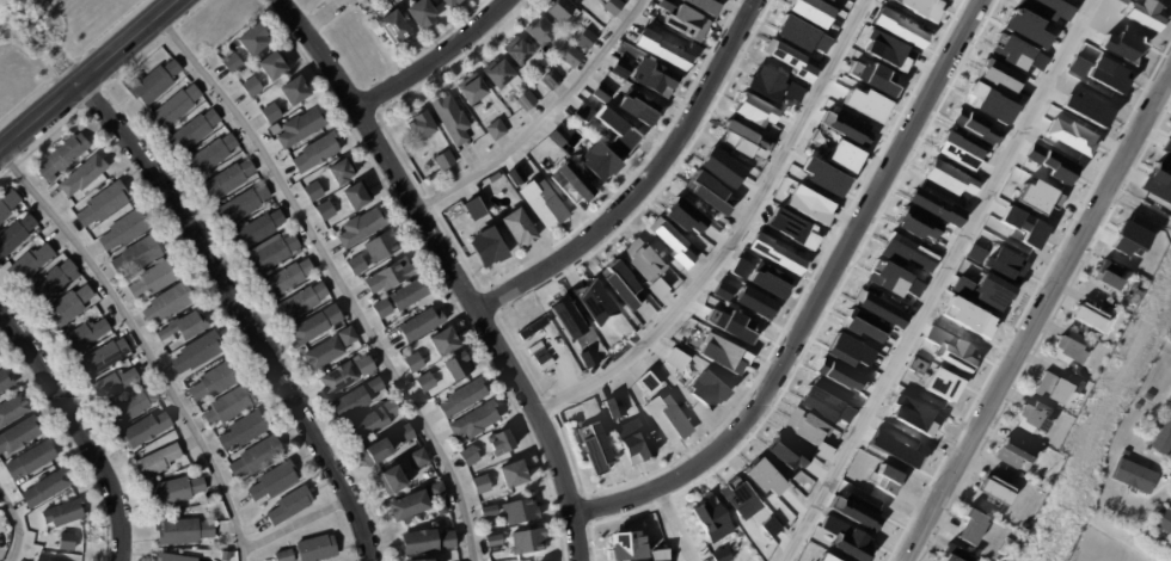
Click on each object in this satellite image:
building: (454, 0)
building: (832, 0)
building: (446, 1)
building: (666, 5)
building: (701, 5)
building: (612, 7)
building: (1047, 8)
building: (560, 10)
building: (810, 11)
building: (419, 12)
road: (321, 14)
building: (685, 21)
building: (393, 26)
building: (540, 30)
building: (799, 35)
building: (253, 39)
building: (585, 39)
building: (519, 50)
building: (887, 50)
building: (572, 57)
road: (435, 58)
building: (789, 60)
building: (232, 63)
building: (272, 64)
building: (620, 67)
building: (496, 70)
road: (90, 76)
building: (652, 76)
building: (552, 80)
building: (154, 82)
building: (765, 82)
building: (251, 86)
building: (470, 88)
building: (295, 91)
building: (792, 91)
building: (599, 94)
building: (525, 99)
building: (987, 104)
building: (174, 106)
building: (637, 106)
building: (752, 110)
building: (582, 112)
building: (271, 113)
road: (541, 117)
building: (452, 119)
building: (421, 125)
building: (301, 128)
building: (496, 129)
building: (975, 129)
building: (194, 130)
building: (617, 131)
building: (557, 135)
building: (743, 140)
building: (1167, 143)
building: (956, 149)
building: (315, 153)
building: (63, 155)
building: (211, 155)
building: (841, 156)
building: (445, 160)
building: (597, 161)
building: (719, 167)
building: (342, 171)
building: (515, 174)
building: (82, 175)
building: (495, 178)
building: (948, 178)
building: (228, 179)
building: (570, 179)
road: (644, 179)
building: (1158, 181)
building: (313, 191)
building: (707, 192)
building: (358, 195)
building: (541, 202)
building: (7, 204)
building: (103, 204)
building: (243, 204)
building: (472, 206)
building: (934, 206)
building: (325, 210)
building: (682, 215)
building: (918, 224)
building: (516, 227)
building: (791, 227)
building: (361, 228)
building: (125, 229)
building: (258, 229)
building: (16, 235)
road: (735, 235)
building: (670, 241)
building: (381, 246)
building: (484, 247)
building: (906, 252)
building: (773, 253)
building: (139, 254)
building: (271, 254)
building: (639, 259)
building: (29, 263)
building: (357, 265)
building: (741, 265)
road: (454, 269)
building: (390, 276)
building: (1108, 276)
building: (154, 278)
building: (287, 278)
road: (336, 278)
building: (768, 279)
road: (940, 280)
building: (51, 282)
building: (618, 282)
building: (656, 288)
building: (723, 290)
building: (989, 291)
building: (409, 295)
road: (815, 298)
building: (593, 301)
building: (301, 302)
building: (754, 302)
building: (168, 303)
building: (68, 307)
building: (382, 308)
building: (879, 309)
road: (243, 313)
road: (1038, 316)
building: (1091, 316)
building: (565, 318)
building: (726, 322)
building: (317, 325)
building: (421, 325)
building: (184, 327)
building: (531, 327)
building: (86, 334)
building: (1169, 338)
road: (143, 343)
building: (445, 343)
building: (330, 349)
building: (1068, 350)
building: (197, 352)
building: (587, 355)
building: (722, 355)
building: (103, 357)
building: (675, 359)
building: (415, 362)
building: (459, 366)
building: (347, 375)
building: (646, 381)
building: (5, 382)
building: (214, 382)
building: (427, 382)
building: (115, 383)
building: (374, 386)
building: (1148, 387)
building: (1054, 388)
building: (705, 389)
building: (464, 399)
building: (1170, 400)
building: (350, 403)
building: (822, 405)
building: (133, 406)
building: (228, 406)
building: (12, 409)
building: (392, 409)
building: (1031, 417)
building: (666, 418)
building: (476, 421)
road: (79, 426)
building: (367, 426)
building: (803, 426)
building: (146, 430)
building: (245, 430)
building: (405, 433)
building: (18, 436)
building: (1163, 437)
building: (632, 440)
building: (503, 443)
building: (1040, 446)
building: (594, 449)
building: (1011, 451)
building: (786, 452)
building: (376, 454)
building: (470, 456)
building: (257, 457)
building: (1132, 457)
building: (418, 458)
building: (30, 461)
building: (158, 461)
building: (515, 475)
building: (1001, 475)
building: (761, 476)
building: (888, 477)
building: (394, 480)
building: (274, 481)
building: (482, 485)
building: (1141, 486)
building: (48, 487)
building: (995, 491)
building: (174, 492)
building: (436, 492)
building: (737, 498)
building: (290, 506)
building: (409, 506)
building: (489, 512)
building: (521, 512)
building: (63, 513)
building: (710, 518)
building: (1163, 520)
road: (296, 522)
road: (16, 523)
road: (676, 524)
building: (971, 528)
building: (185, 532)
building: (447, 541)
building: (495, 541)
building: (67, 542)
building: (528, 542)
building: (418, 543)
building: (625, 544)
building: (1006, 547)
building: (317, 549)
building: (658, 554)
building: (954, 554)
building: (721, 555)
building: (284, 556)
building: (173, 557)
building: (41, 559)
building: (827, 559)
building: (417, 560)

